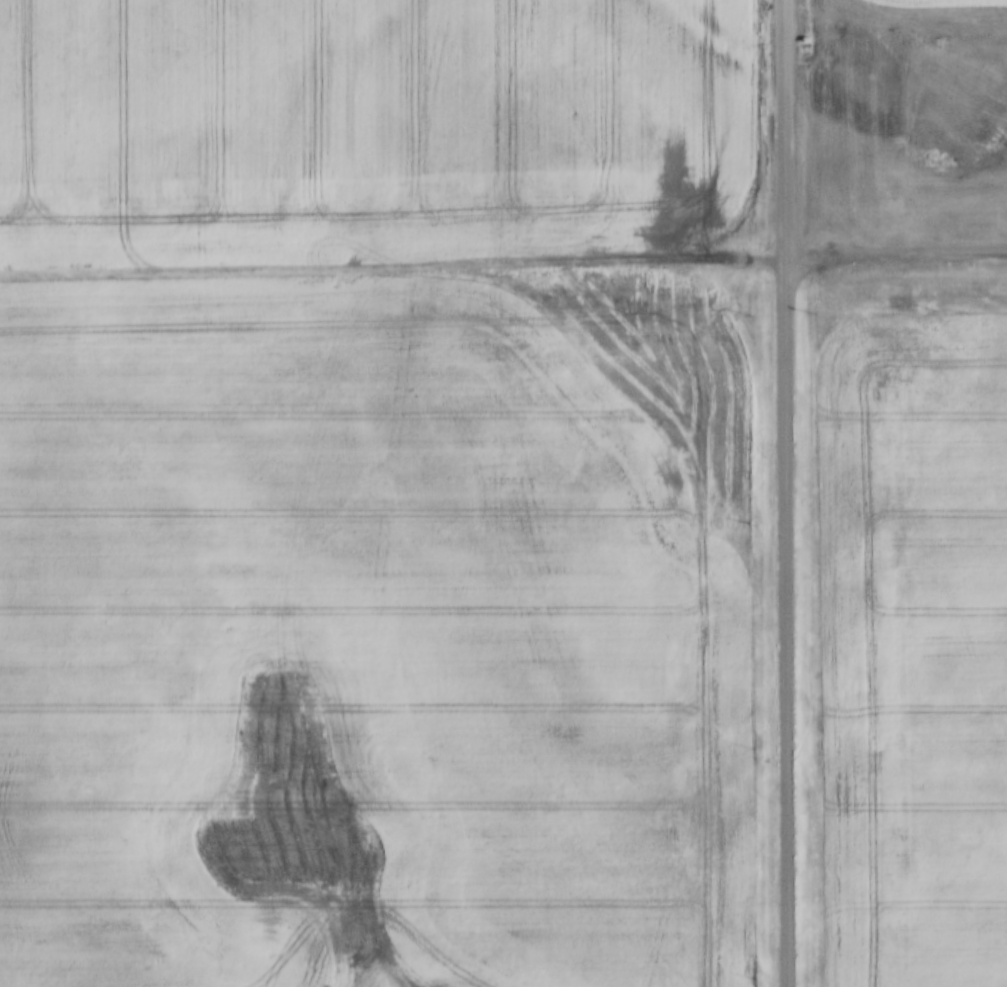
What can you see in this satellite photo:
road: (896, 264)
road: (393, 267)
road: (785, 493)

